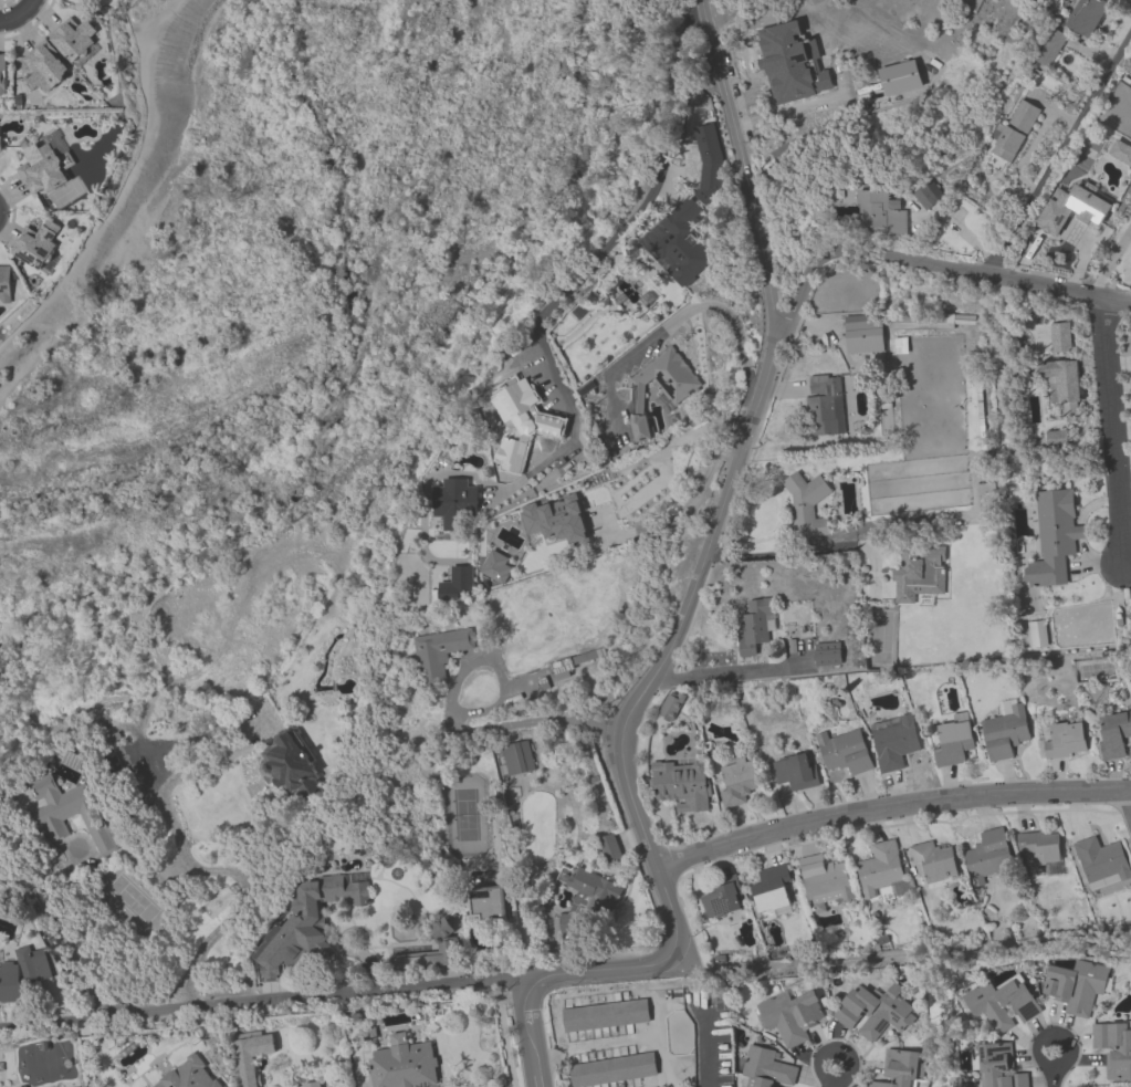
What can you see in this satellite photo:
road: (31, 2)
road: (15, 17)
building: (1086, 17)
road: (129, 21)
building: (72, 40)
building: (1051, 48)
building: (1130, 64)
building: (42, 66)
building: (1, 72)
building: (1015, 130)
building: (1120, 150)
building: (689, 151)
road: (1057, 151)
building: (706, 163)
building: (42, 168)
road: (127, 187)
building: (928, 196)
building: (1087, 208)
building: (881, 216)
building: (677, 242)
building: (34, 244)
road: (601, 251)
road: (1111, 262)
road: (923, 265)
building: (4, 284)
road: (679, 315)
building: (921, 320)
building: (862, 332)
building: (1061, 368)
building: (677, 390)
building: (823, 404)
building: (522, 421)
road: (1113, 430)
building: (1055, 438)
road: (510, 485)
road: (727, 485)
building: (454, 503)
building: (805, 503)
road: (689, 508)
building: (555, 519)
road: (868, 530)
building: (1053, 536)
road: (1128, 565)
building: (920, 572)
building: (754, 628)
building: (1037, 636)
building: (440, 654)
building: (827, 654)
road: (731, 673)
building: (671, 704)
road: (455, 719)
building: (1005, 731)
building: (1113, 734)
building: (954, 740)
building: (1066, 740)
building: (896, 743)
building: (844, 751)
building: (519, 759)
building: (285, 763)
building: (796, 771)
building: (739, 780)
building: (682, 784)
road: (1129, 796)
road: (889, 806)
building: (72, 814)
building: (1040, 847)
building: (988, 856)
building: (1101, 858)
building: (932, 863)
road: (202, 869)
building: (881, 870)
building: (825, 880)
building: (773, 892)
building: (722, 899)
building: (589, 901)
building: (488, 905)
building: (311, 918)
building: (442, 932)
road: (69, 944)
road: (600, 971)
building: (17, 979)
building: (1078, 985)
building: (1002, 1003)
road: (523, 1005)
road: (260, 1006)
building: (875, 1013)
building: (606, 1015)
building: (790, 1015)
road: (1036, 1048)
building: (1114, 1048)
road: (532, 1058)
road: (816, 1059)
building: (405, 1064)
building: (999, 1066)
building: (767, 1068)
building: (612, 1069)
building: (899, 1069)
building: (187, 1075)
road: (1053, 1078)
building: (312, 1084)
road: (831, 1084)
building: (25, 1086)

